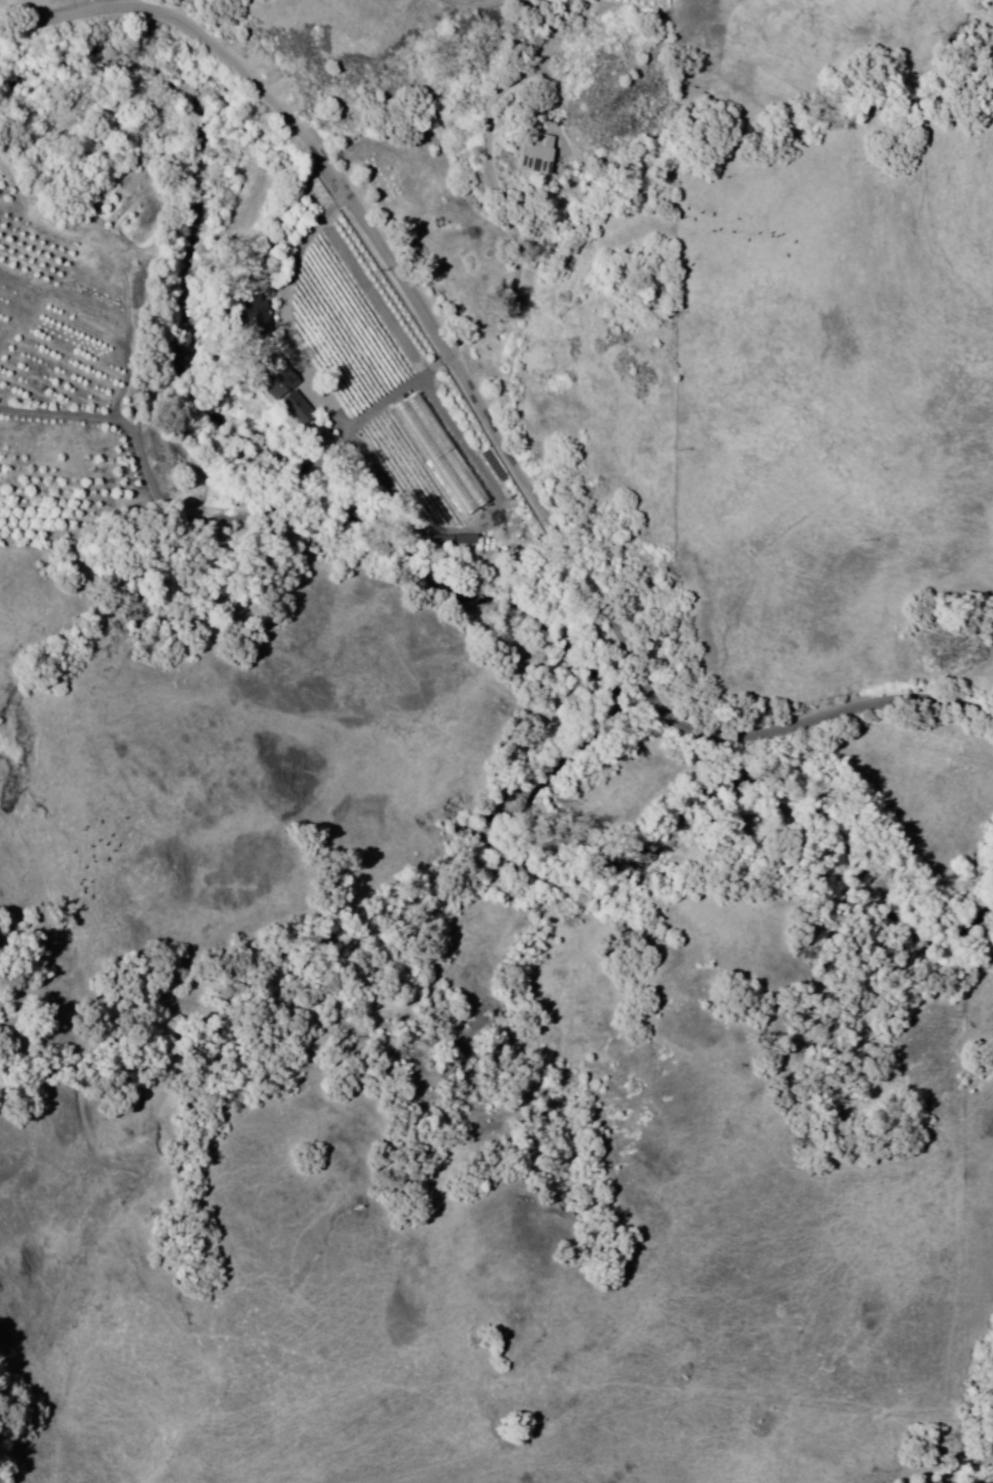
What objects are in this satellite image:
building: (538, 150)
road: (487, 171)
road: (303, 251)
building: (256, 311)
crop: (355, 320)
building: (284, 381)
building: (299, 408)
road: (484, 416)
building: (444, 453)
road: (226, 526)
building: (449, 539)

